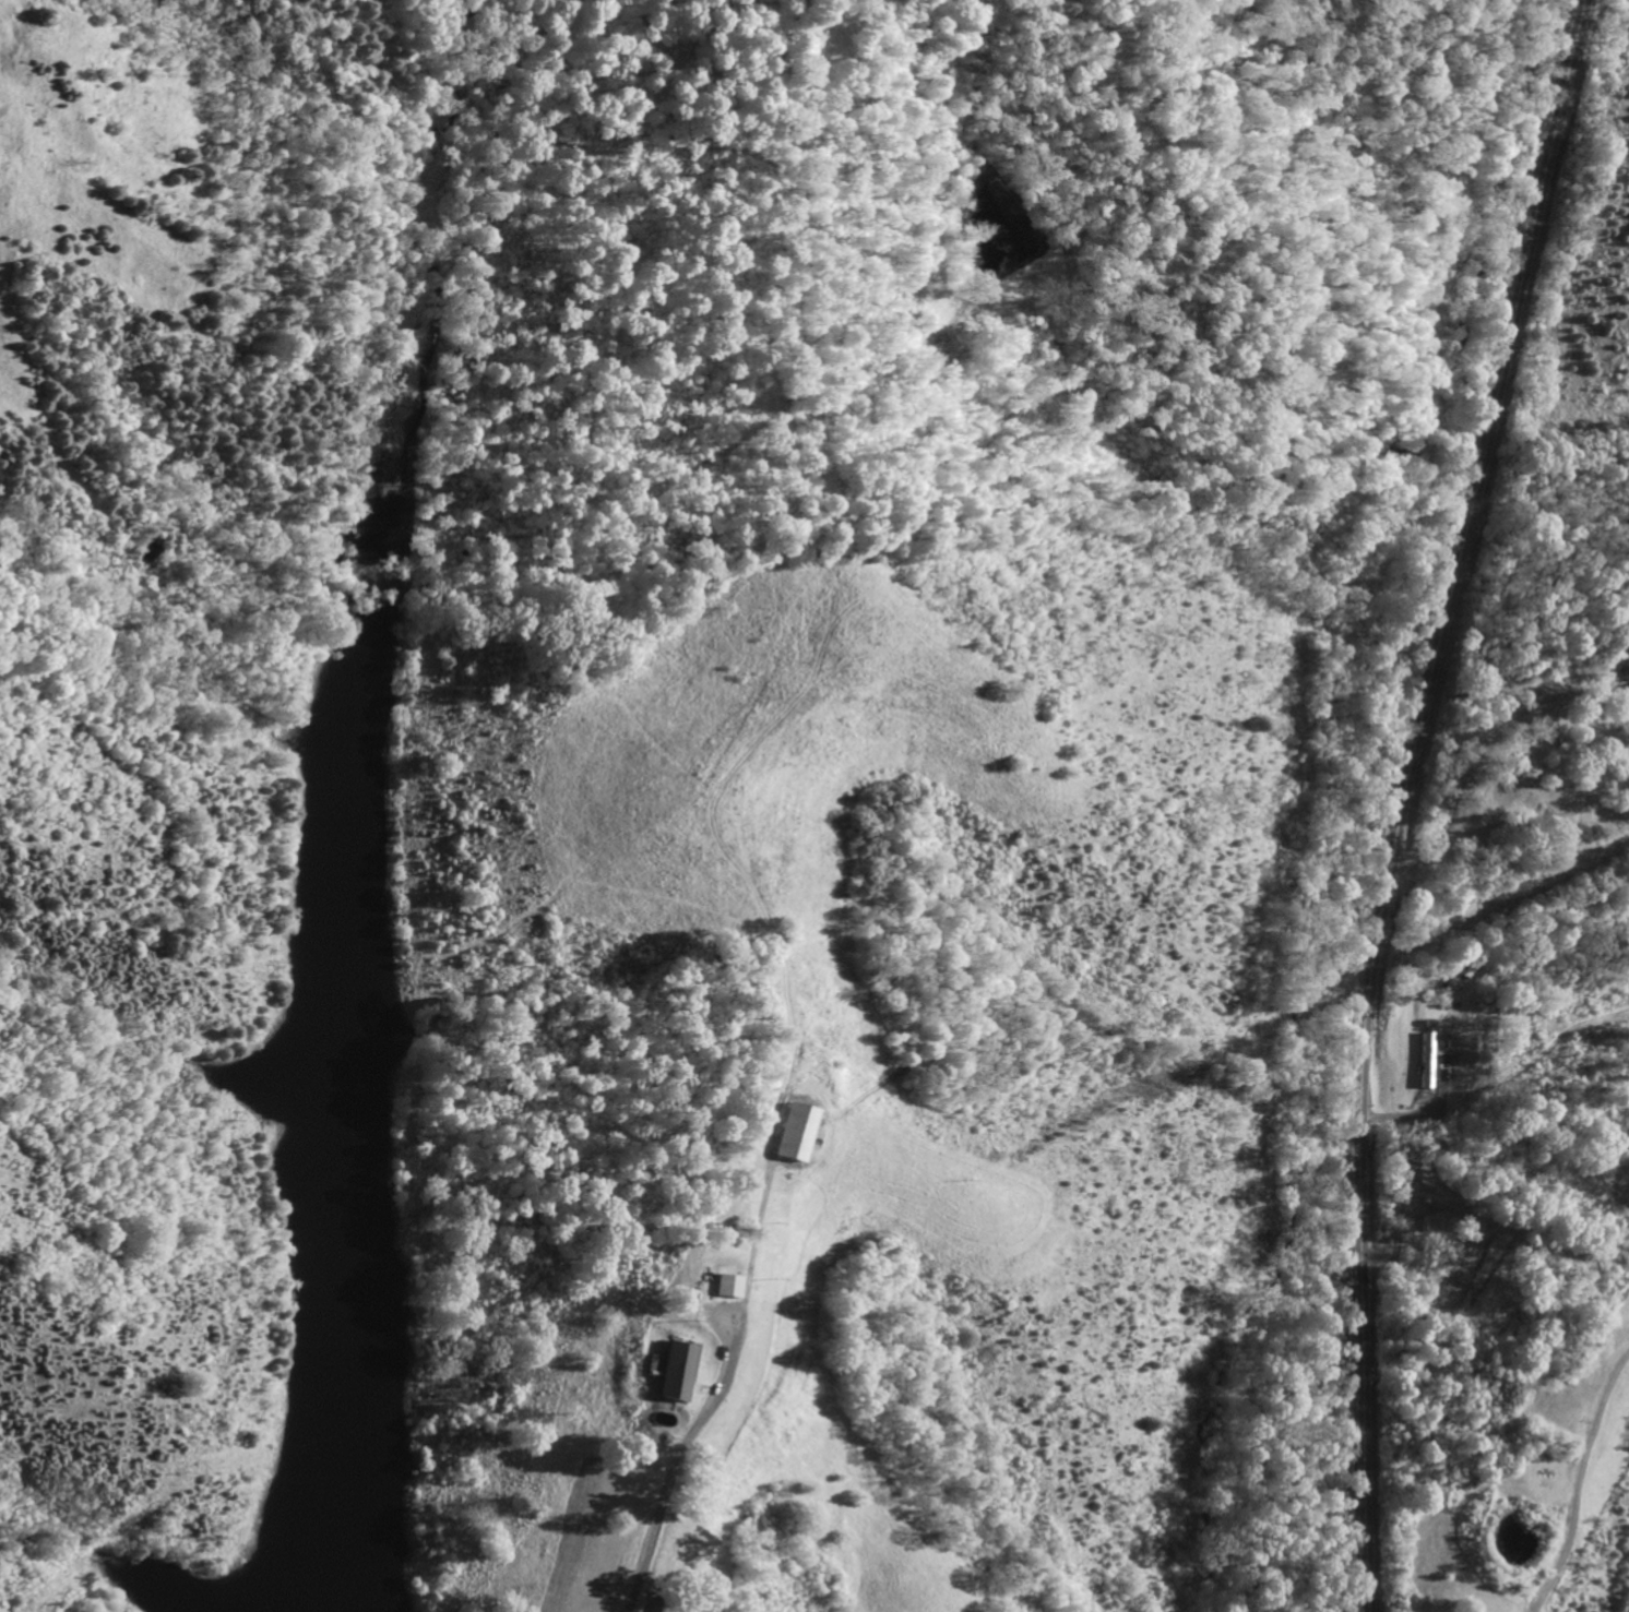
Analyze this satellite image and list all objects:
building: (1628, 683)
road: (1481, 740)
road: (1406, 798)
building: (786, 1131)
building: (724, 1285)
building: (673, 1371)
road: (668, 1481)
road: (1580, 1481)

